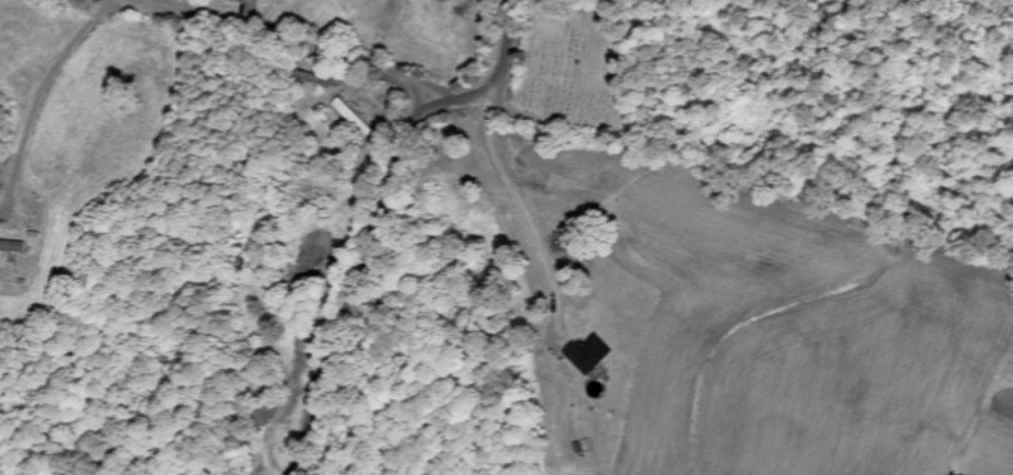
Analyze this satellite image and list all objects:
building: (252, 0)
road: (296, 41)
park: (578, 69)
road: (417, 99)
building: (353, 116)
road: (379, 213)
building: (13, 245)
building: (586, 353)
building: (599, 381)

